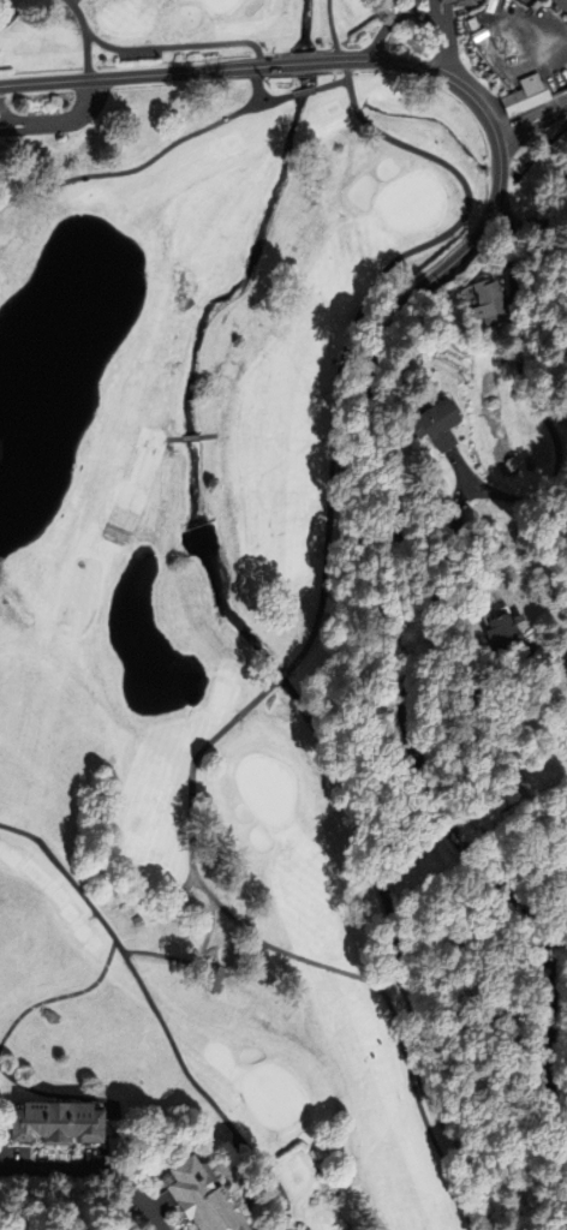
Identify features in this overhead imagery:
road: (566, 0)
building: (460, 4)
road: (12, 12)
road: (441, 14)
road: (420, 22)
road: (383, 24)
road: (332, 30)
road: (83, 36)
road: (442, 38)
road: (177, 44)
road: (127, 76)
road: (302, 89)
building: (521, 96)
road: (530, 112)
road: (5, 114)
road: (58, 121)
road: (532, 127)
road: (149, 160)
road: (513, 274)
building: (485, 303)
road: (354, 315)
building: (431, 425)
road: (555, 478)
road: (392, 502)
park: (204, 566)
building: (500, 628)
road: (281, 675)
road: (178, 895)
road: (207, 935)
road: (290, 954)
road: (198, 963)
building: (211, 978)
road: (64, 995)
road: (157, 1016)
building: (53, 1122)
road: (94, 1170)
road: (243, 1181)
building: (197, 1195)

